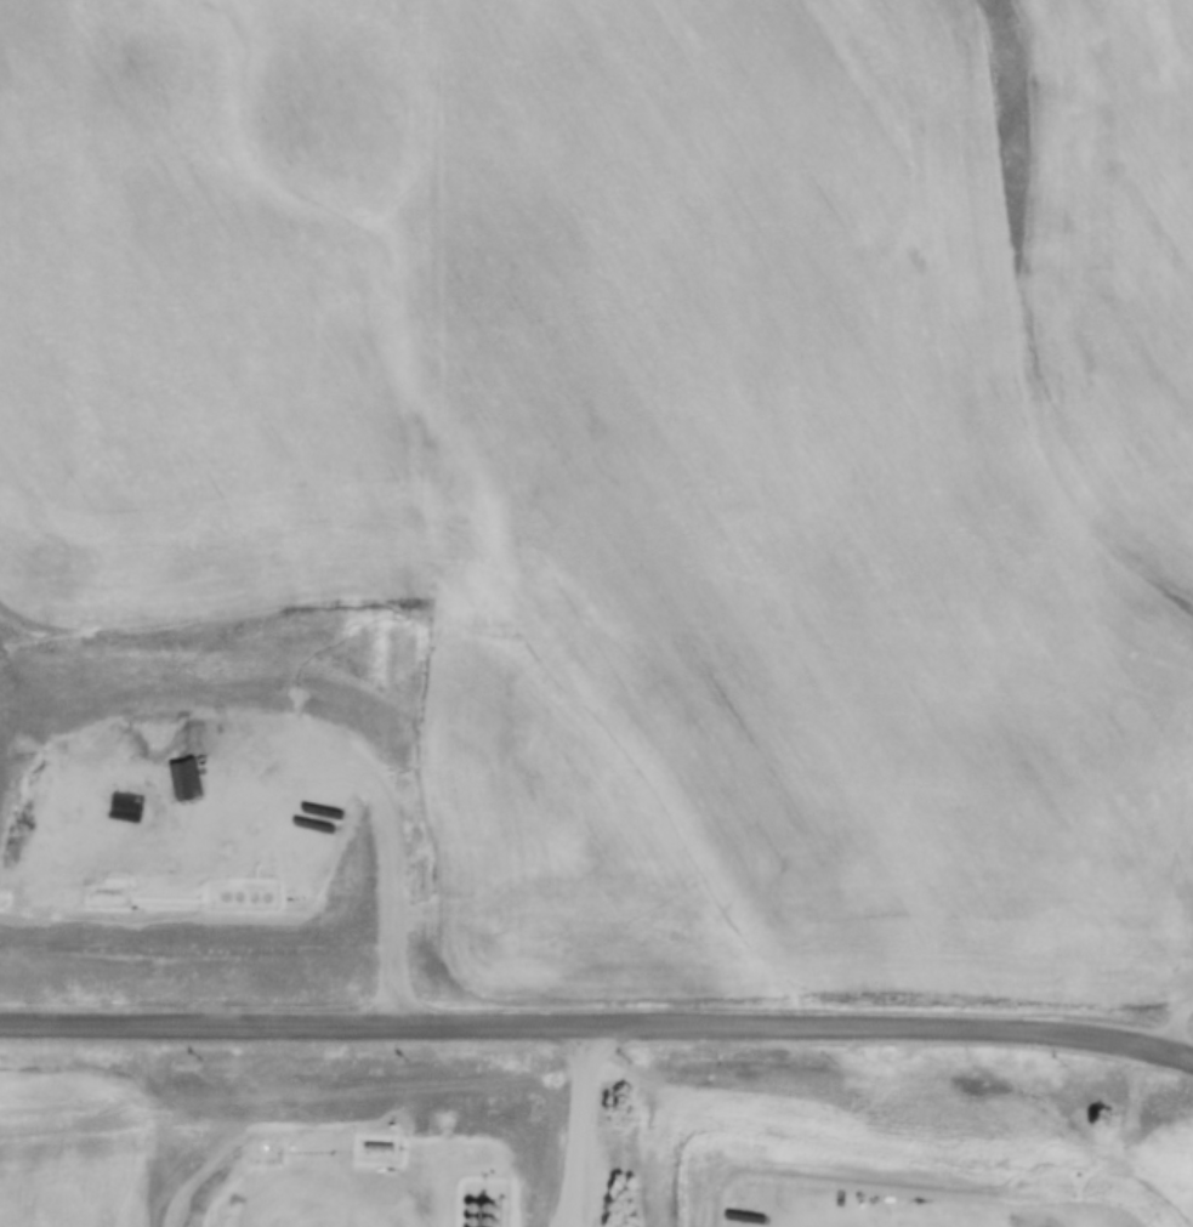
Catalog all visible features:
road: (348, 765)
building: (19, 774)
building: (17, 857)
building: (305, 868)
building: (159, 890)
road: (1178, 1026)
road: (597, 1033)
road: (579, 1129)
building: (477, 1132)
road: (317, 1183)
building: (180, 1187)
road: (574, 1220)
road: (924, 1225)

